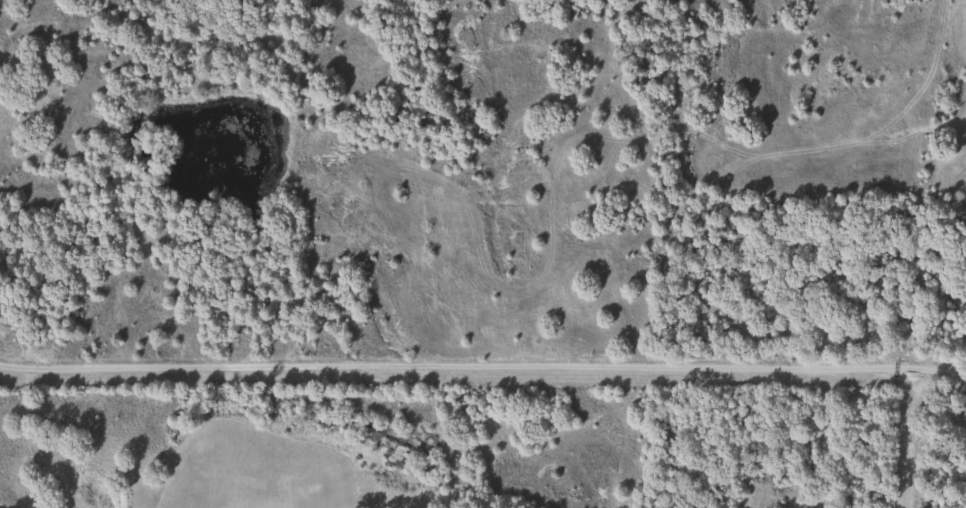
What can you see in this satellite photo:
road: (483, 365)

